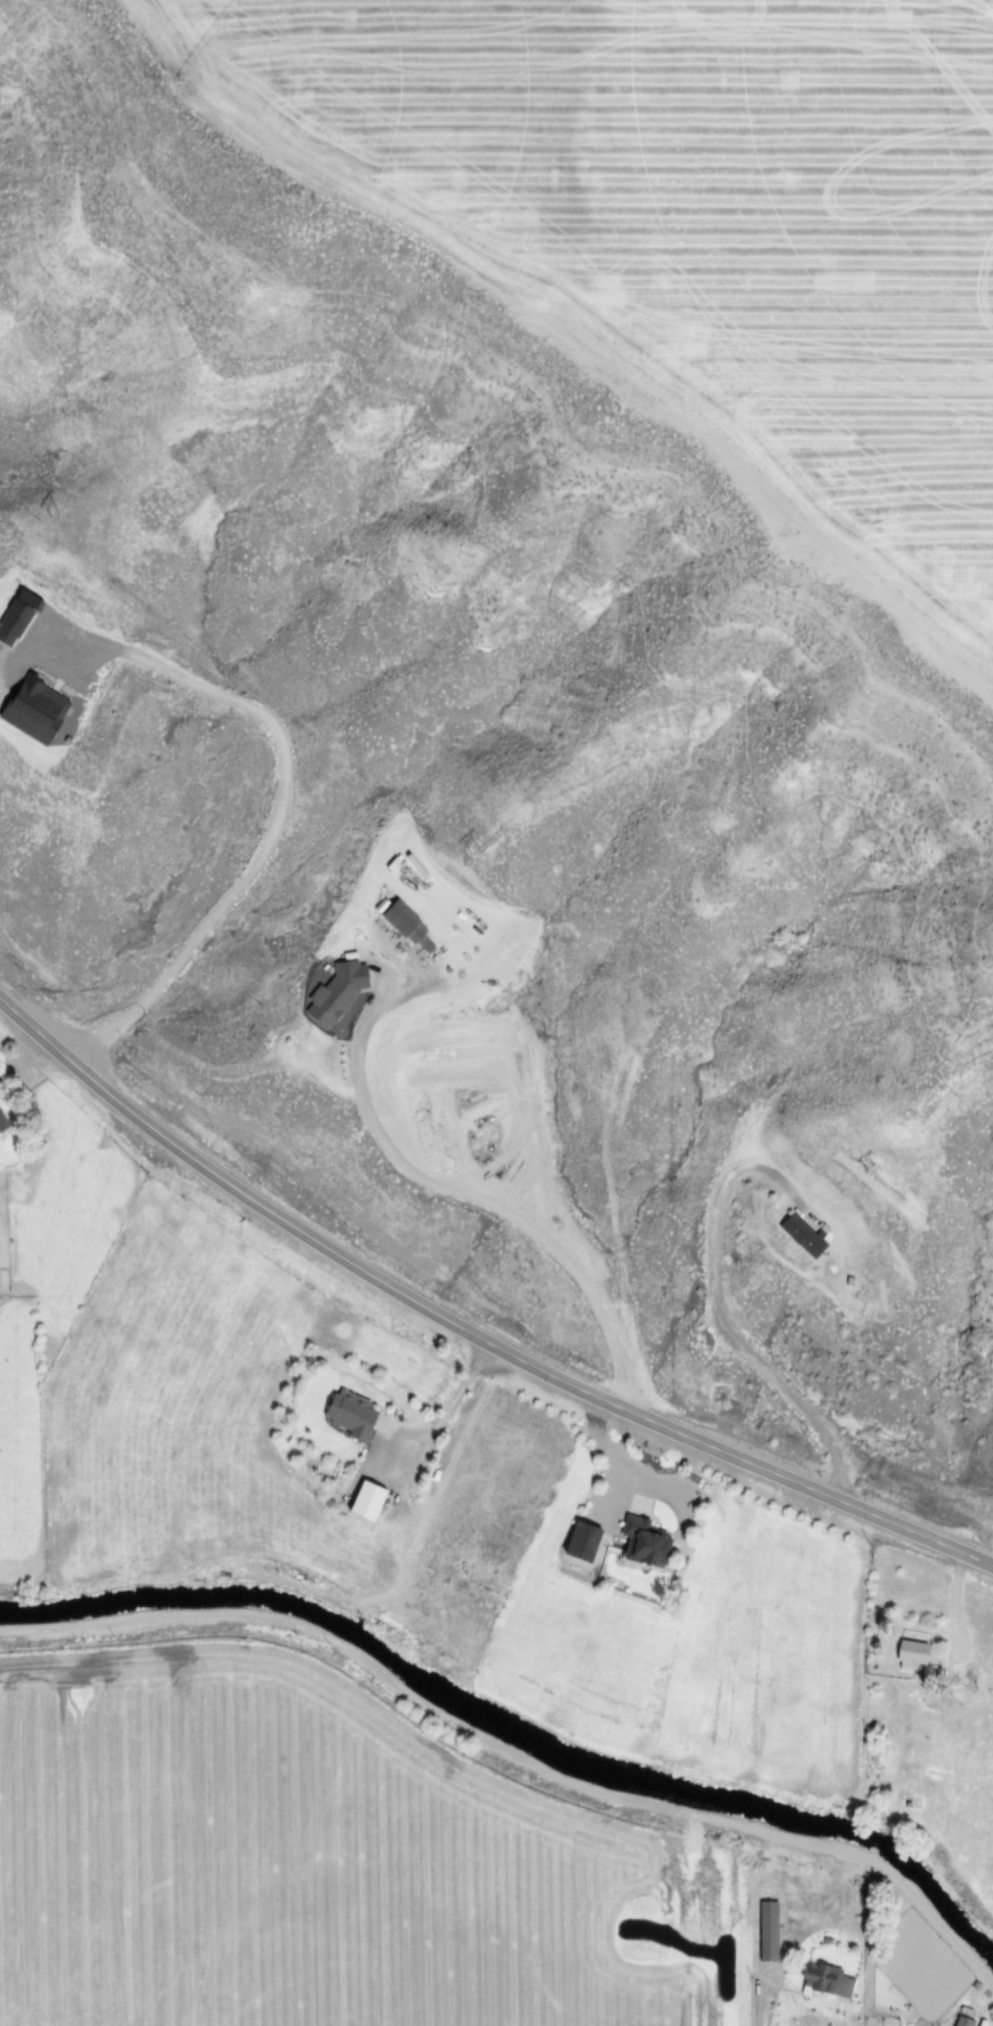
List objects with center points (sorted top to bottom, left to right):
building: (15, 620)
building: (38, 708)
road: (275, 820)
building: (405, 927)
building: (331, 993)
building: (3, 1123)
road: (495, 1205)
building: (798, 1237)
road: (717, 1299)
road: (470, 1332)
building: (351, 1412)
road: (444, 1421)
building: (371, 1499)
building: (586, 1540)
building: (647, 1540)
road: (960, 1617)
building: (907, 1655)
road: (511, 1756)
building: (764, 1931)
building: (818, 1978)
road: (757, 2006)
road: (927, 2016)
building: (959, 2021)

